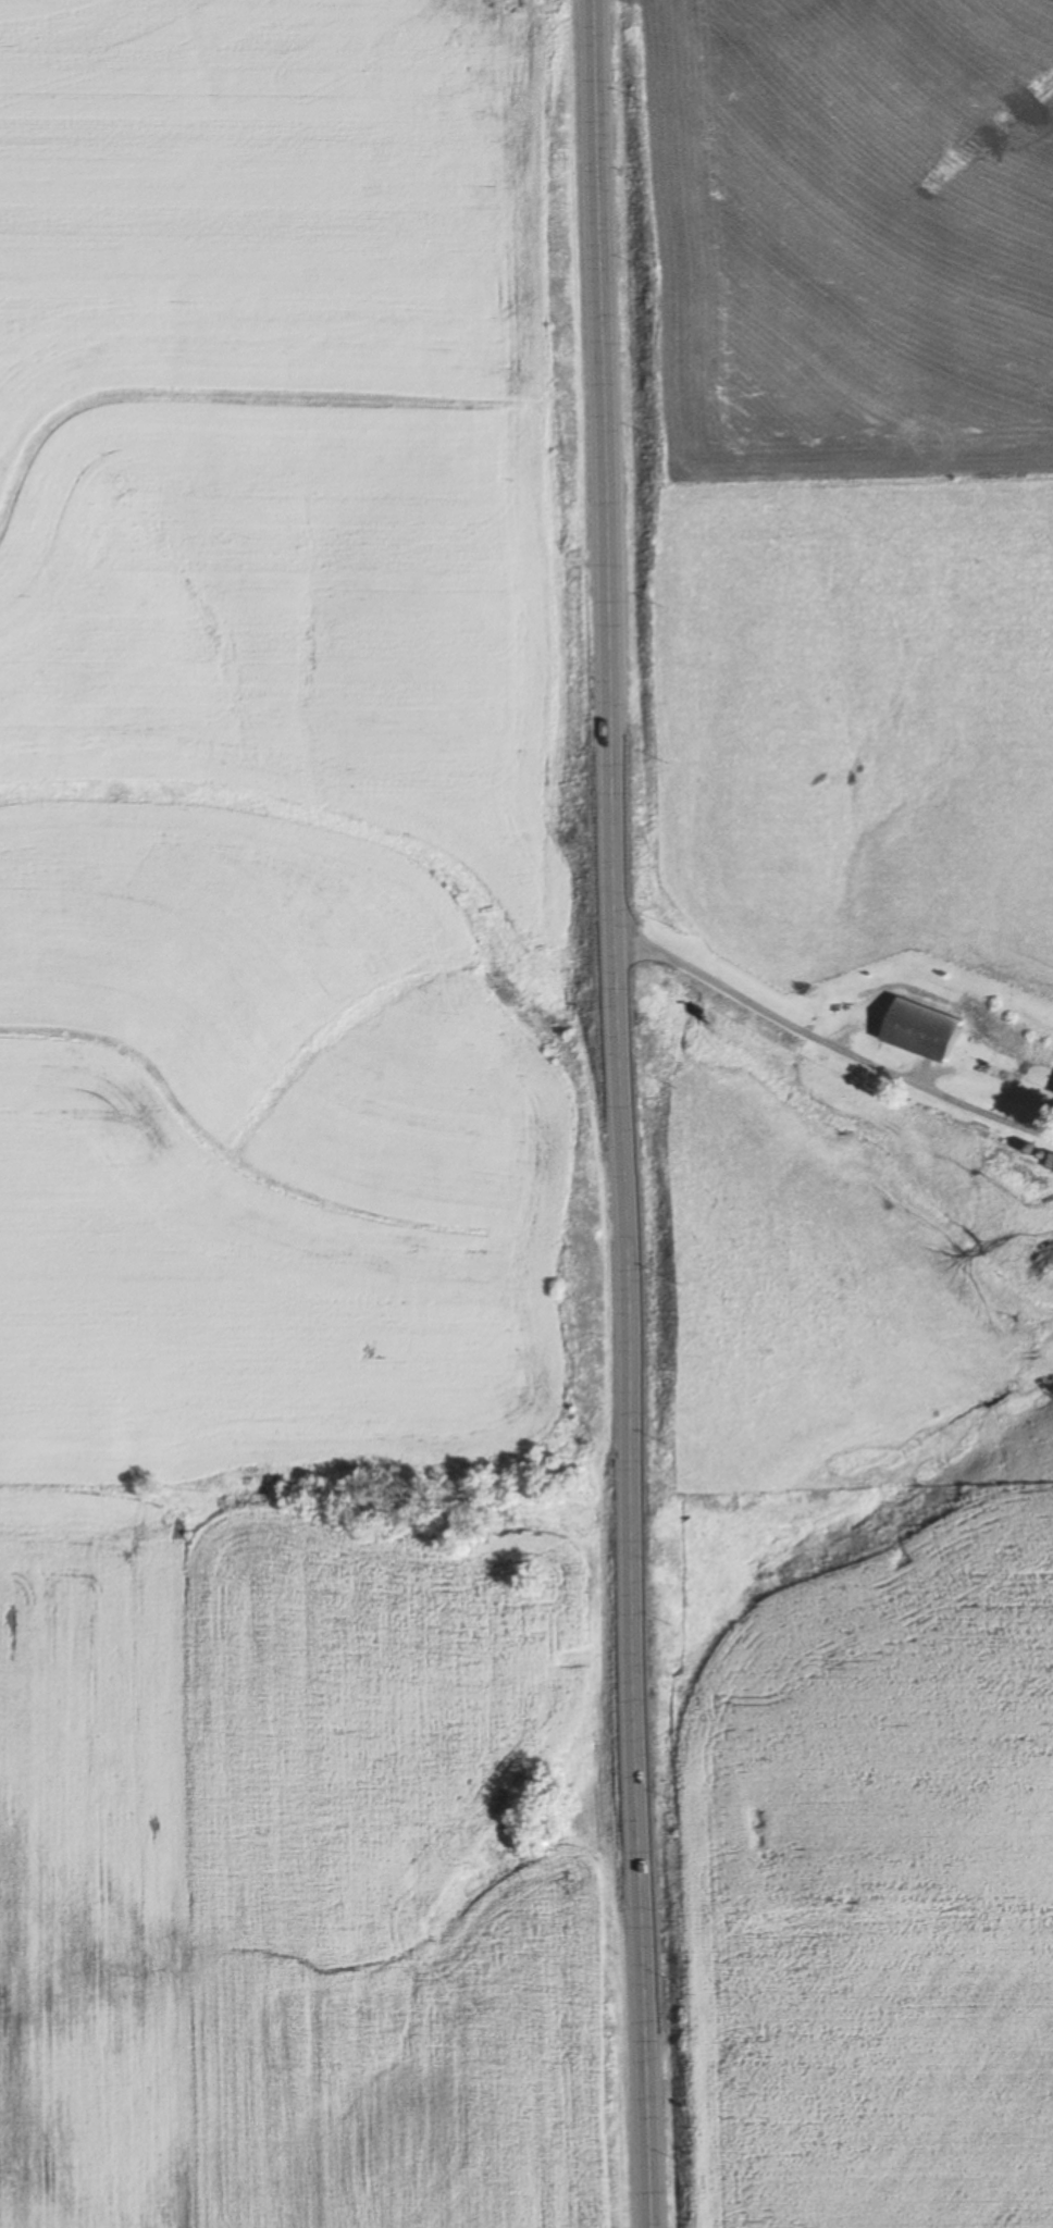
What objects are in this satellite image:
building: (918, 1030)
road: (832, 1040)
road: (616, 1114)
building: (1049, 1164)

